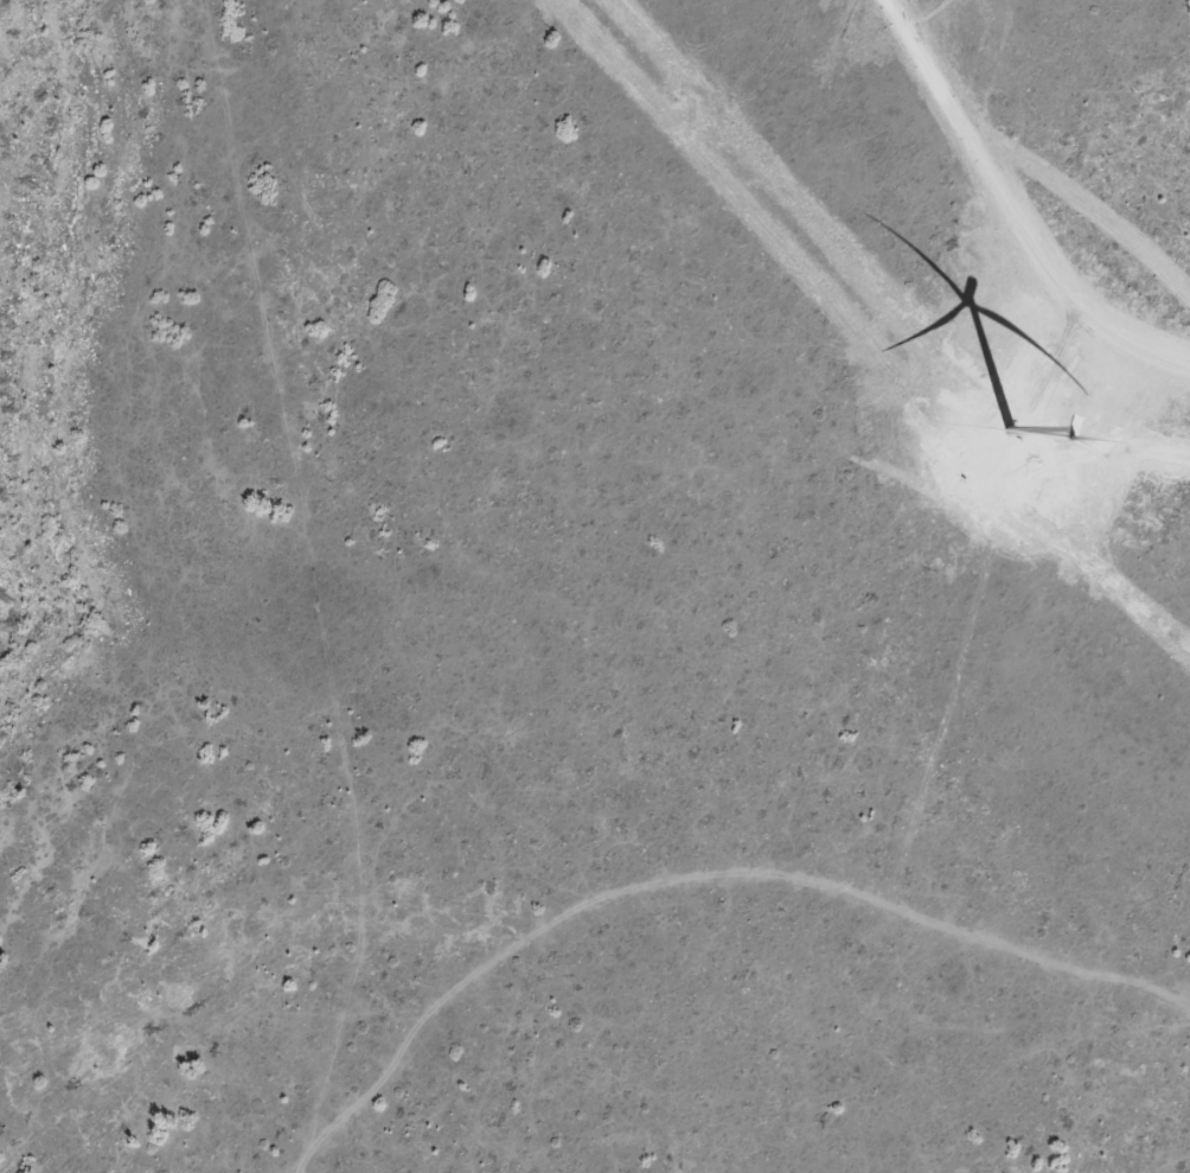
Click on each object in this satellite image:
wind turbine: (1005, 421)
road: (352, 582)
road: (769, 924)

